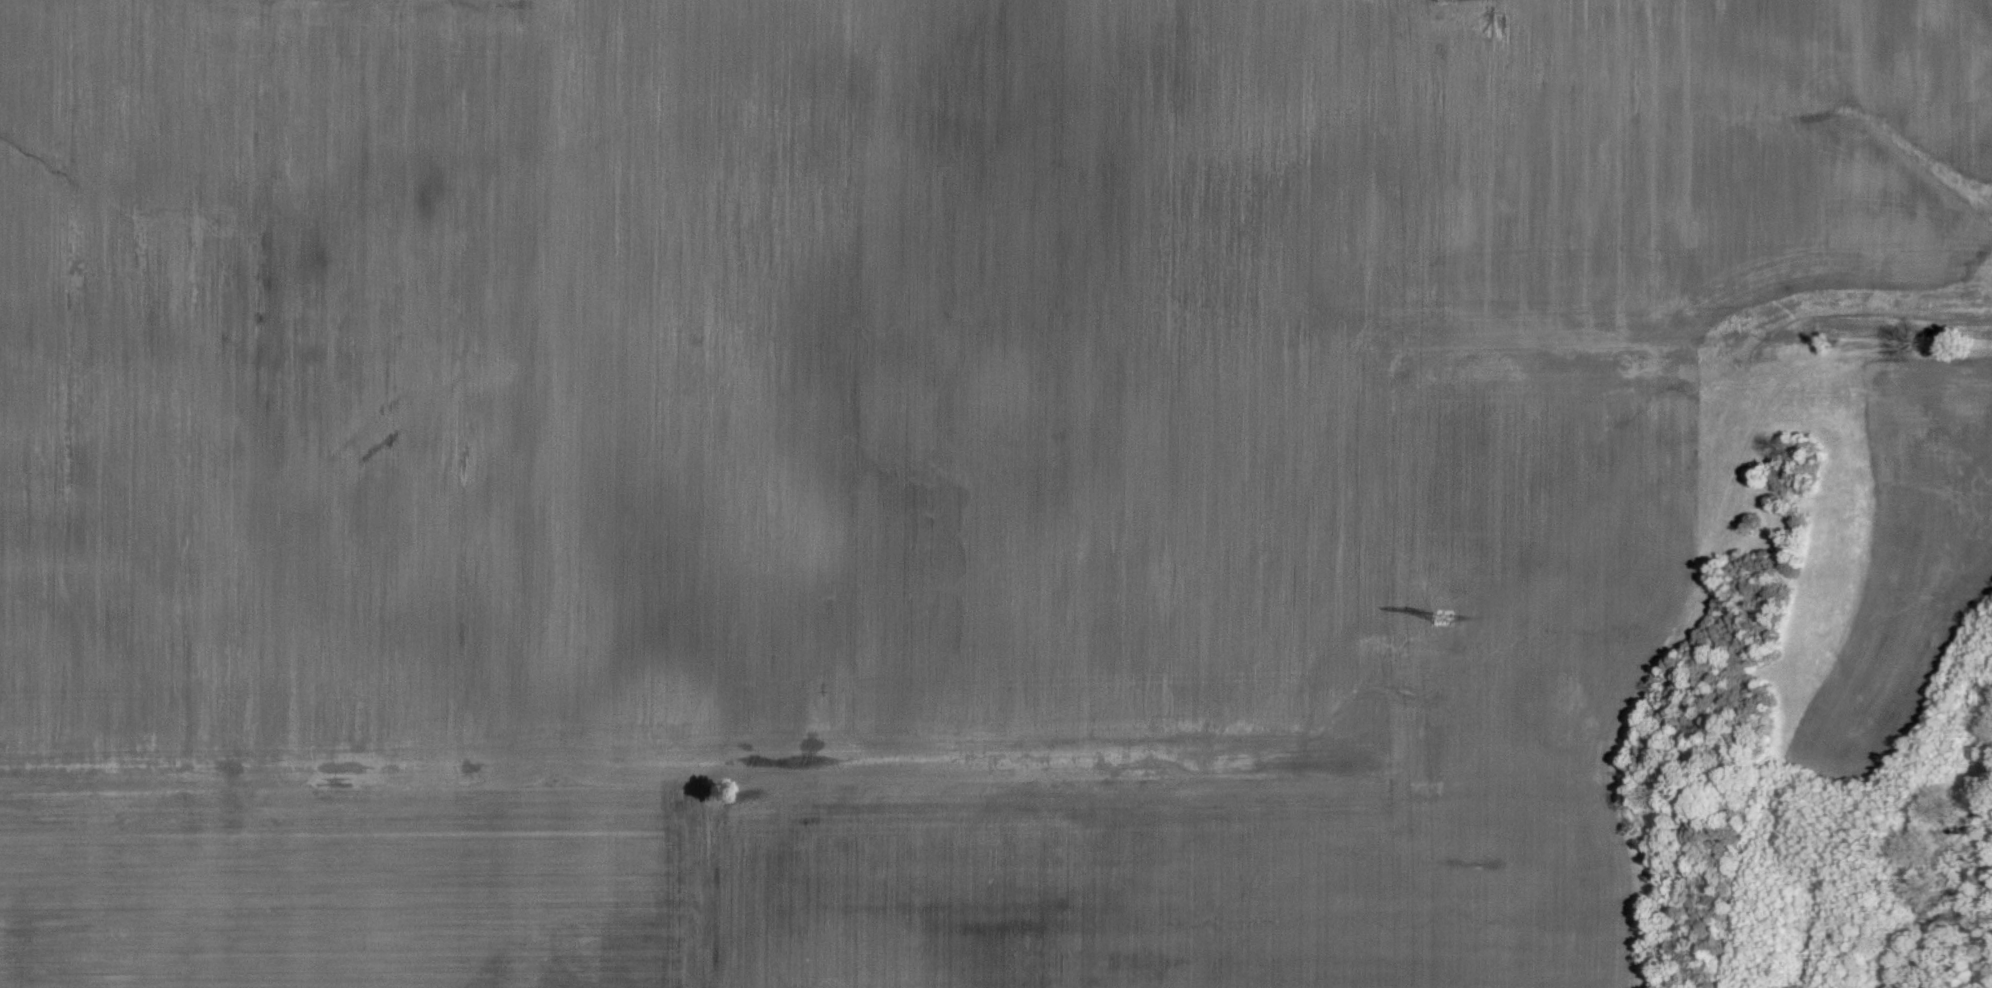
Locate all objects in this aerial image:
power tower: (1439, 616)

